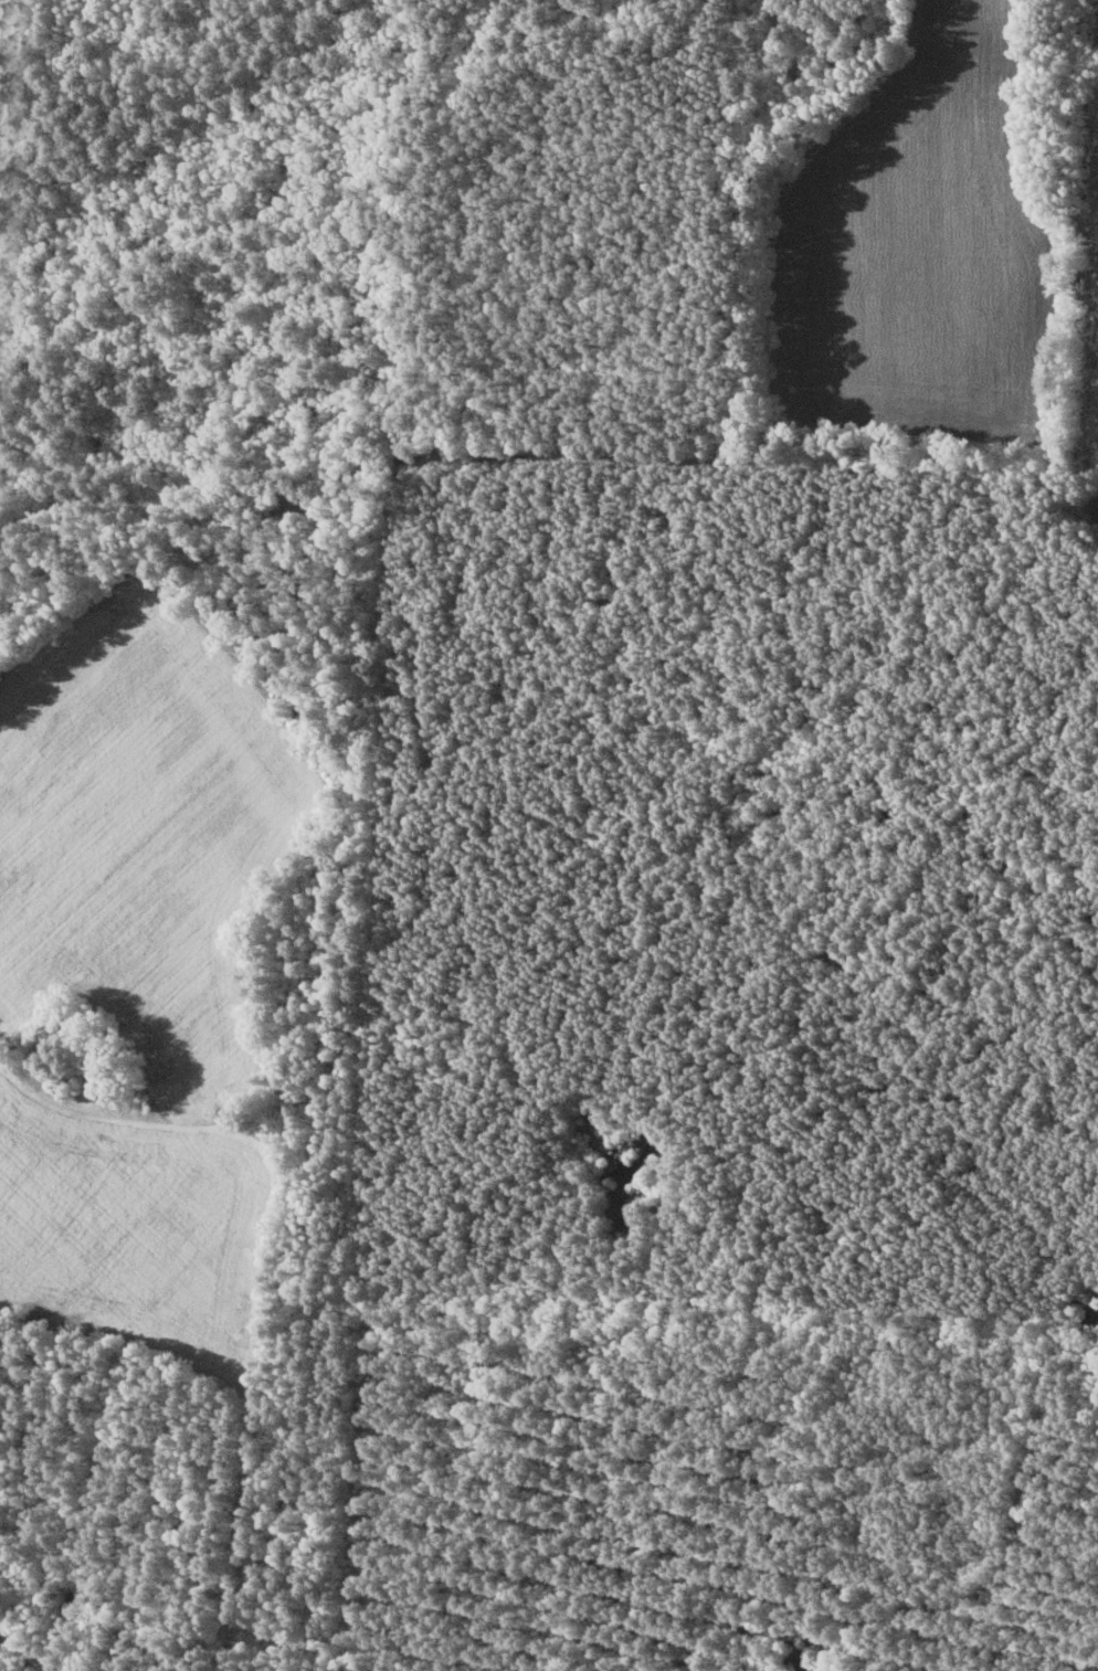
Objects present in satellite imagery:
crop: (931, 248)
crop: (1092, 508)
crop: (145, 829)
building: (57, 1029)
building: (117, 1075)
road: (270, 1207)
crop: (128, 1230)

